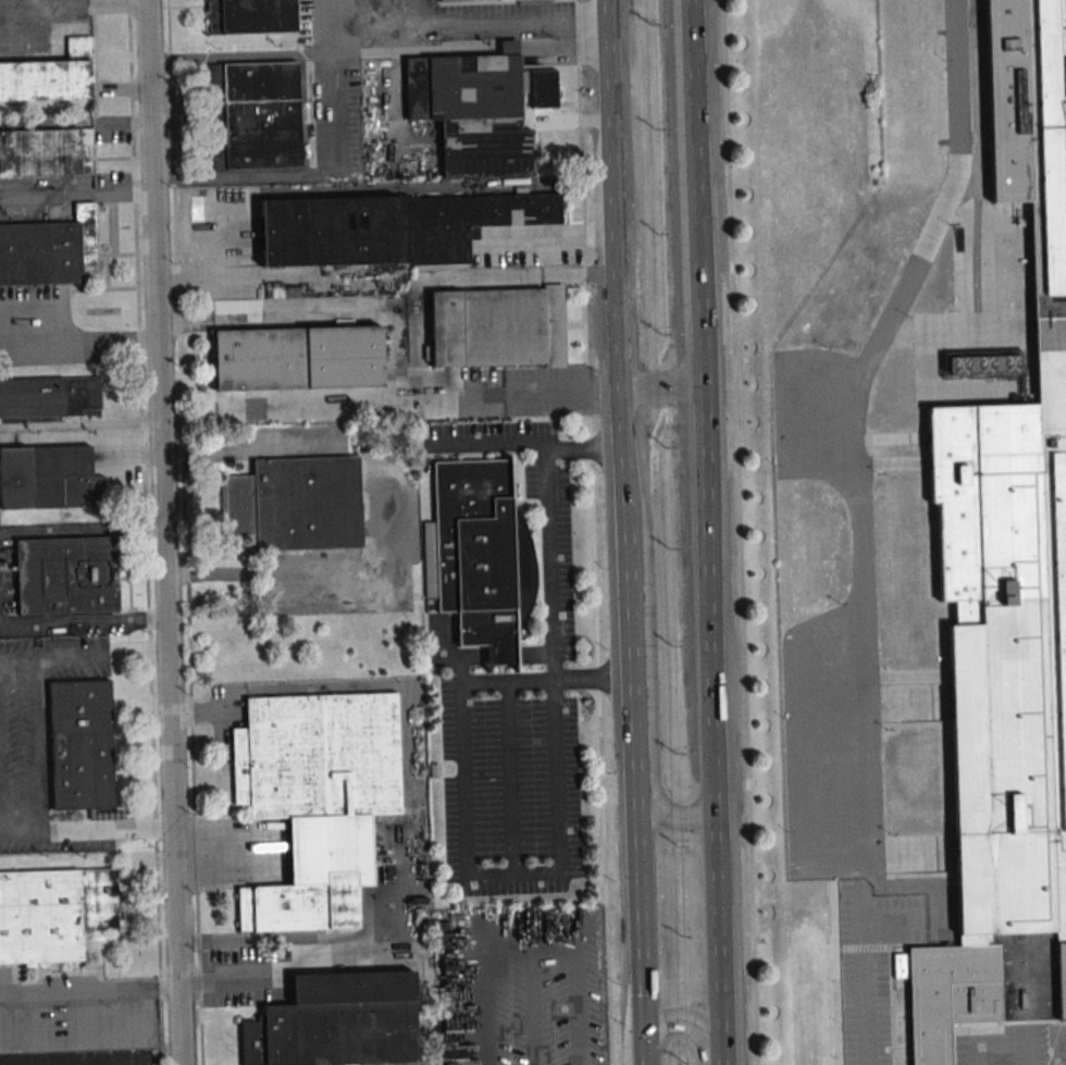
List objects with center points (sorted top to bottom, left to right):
building: (466, 0)
road: (71, 5)
road: (326, 15)
building: (251, 16)
road: (329, 55)
road: (237, 58)
building: (49, 76)
road: (956, 83)
building: (479, 111)
building: (255, 116)
building: (46, 152)
building: (392, 227)
road: (550, 234)
building: (48, 249)
railway: (975, 253)
building: (497, 327)
road: (887, 327)
road: (77, 339)
building: (298, 358)
road: (662, 388)
building: (50, 397)
road: (528, 446)
building: (48, 479)
building: (319, 504)
road: (625, 513)
road: (82, 529)
road: (164, 532)
road: (704, 532)
road: (739, 532)
building: (473, 554)
building: (66, 577)
building: (1007, 594)
road: (122, 619)
road: (38, 624)
road: (646, 720)
road: (862, 721)
road: (37, 745)
building: (80, 746)
building: (317, 801)
road: (411, 815)
road: (536, 874)
building: (53, 914)
road: (287, 942)
road: (169, 990)
road: (531, 991)
road: (80, 992)
road: (426, 1004)
road: (581, 1008)
road: (486, 1013)
building: (337, 1023)
road: (133, 1028)
traffic signals: (640, 1029)
road: (685, 1029)
road: (640, 1047)

